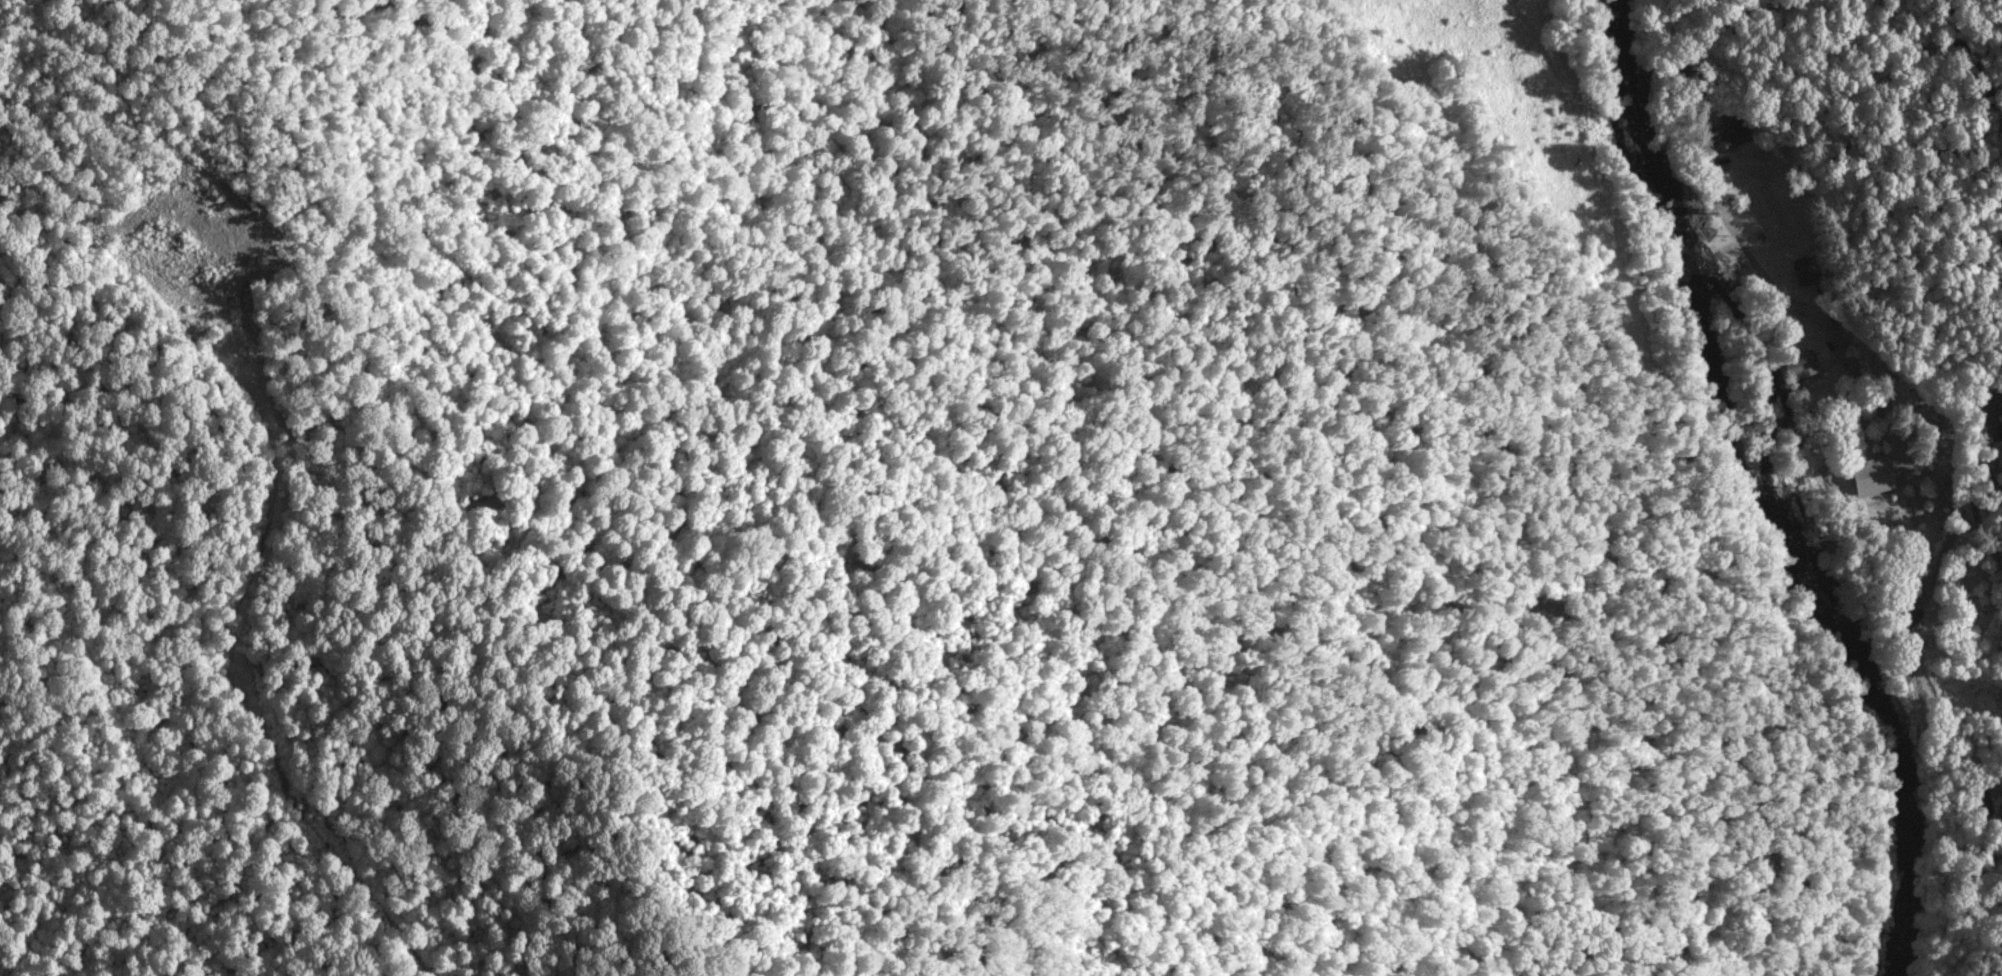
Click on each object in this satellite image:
road: (1965, 80)
building: (1731, 135)
building: (1806, 269)
building: (1803, 362)
building: (1997, 451)
building: (1872, 473)

